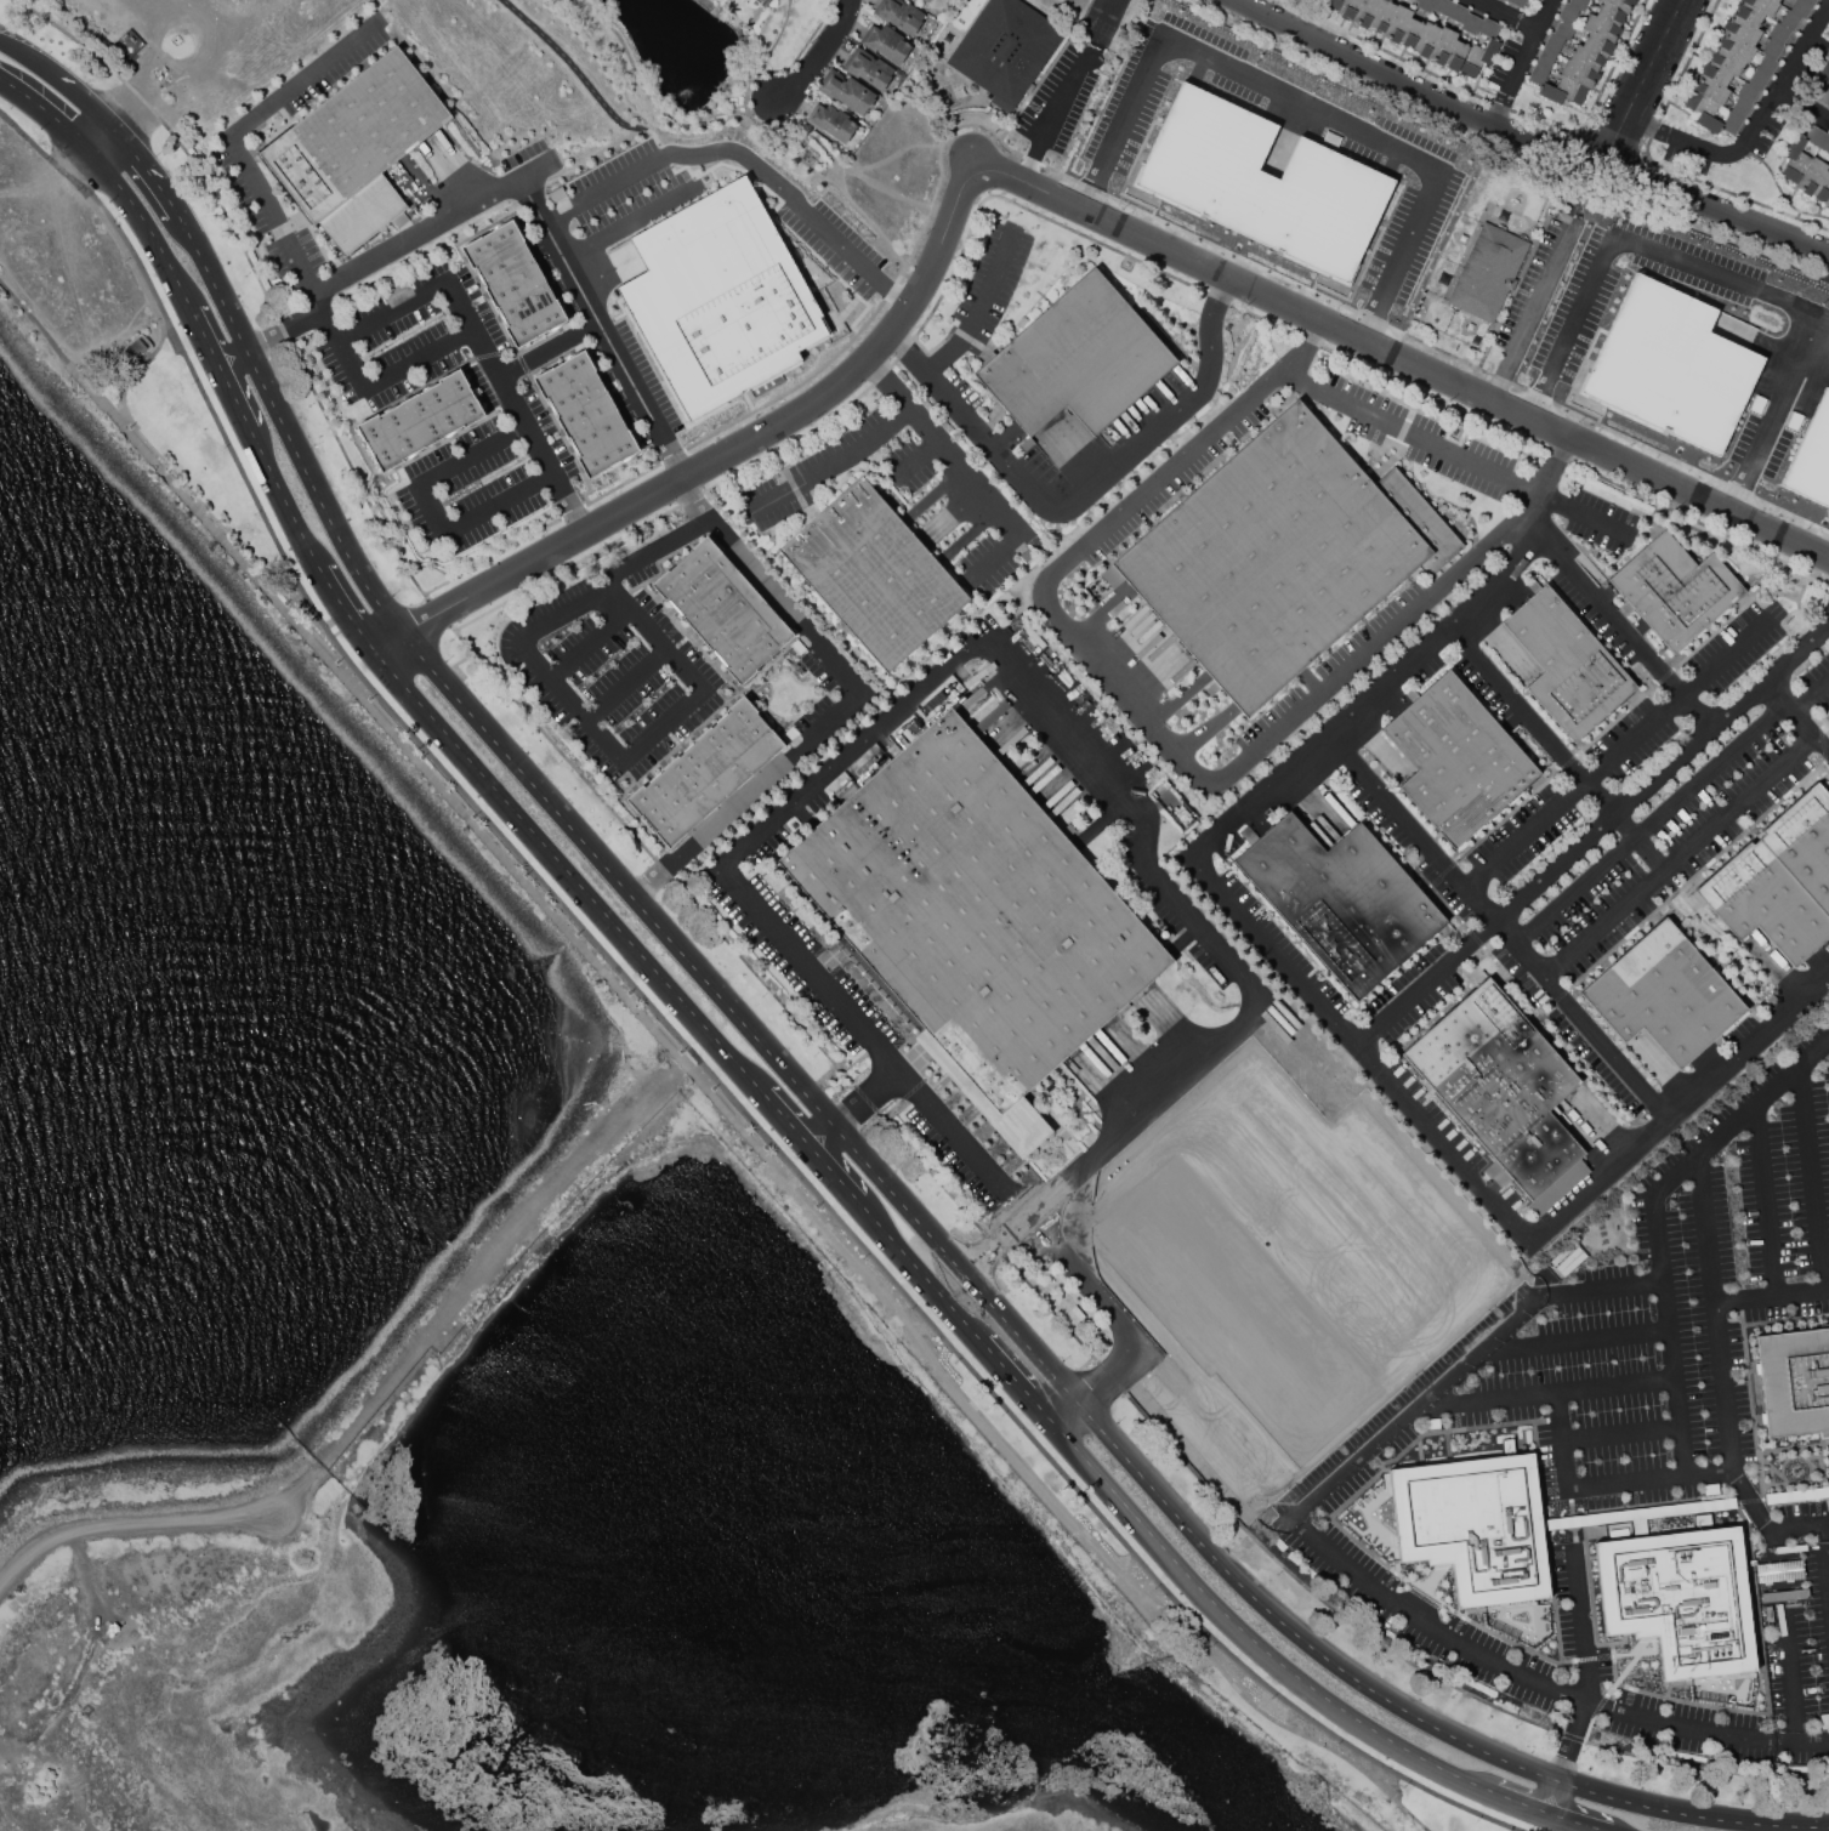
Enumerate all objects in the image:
building: (1416, 0)
building: (1778, 0)
building: (760, 1)
building: (922, 1)
building: (1811, 1)
building: (1518, 2)
building: (1333, 4)
building: (1579, 4)
building: (1620, 4)
building: (1426, 5)
building: (1762, 5)
building: (1443, 6)
building: (1801, 7)
building: (1347, 8)
building: (1365, 12)
building: (1459, 12)
building: (1569, 12)
building: (1611, 13)
building: (1749, 13)
building: (899, 15)
road: (1510, 15)
road: (1549, 15)
building: (1381, 16)
building: (1790, 19)
building: (1397, 23)
building: (1472, 23)
building: (1489, 27)
building: (1564, 28)
building: (1602, 28)
building: (1743, 29)
building: (1411, 33)
building: (1779, 33)
building: (1426, 39)
building: (886, 41)
building: (1553, 41)
building: (1598, 45)
road: (1804, 45)
building: (1442, 46)
building: (1736, 46)
road: (19, 47)
building: (1773, 47)
building: (1006, 49)
road: (820, 52)
building: (1456, 55)
building: (1478, 56)
building: (1547, 57)
building: (1586, 57)
building: (1727, 59)
building: (1768, 64)
building: (868, 68)
building: (1539, 73)
building: (1579, 73)
building: (1716, 73)
building: (1824, 73)
road: (1518, 78)
road: (300, 79)
building: (1759, 79)
road: (1647, 83)
building: (1710, 89)
building: (846, 90)
road: (1068, 90)
building: (1563, 91)
building: (1748, 92)
road: (83, 93)
building: (1823, 93)
road: (1804, 102)
road: (658, 104)
building: (1721, 104)
road: (1299, 106)
building: (1740, 108)
building: (1704, 110)
building: (833, 123)
building: (1732, 123)
road: (120, 131)
building: (1816, 135)
road: (1529, 137)
building: (1825, 143)
building: (357, 148)
road: (44, 153)
road: (1719, 154)
road: (746, 159)
building: (1796, 159)
road: (860, 165)
road: (83, 166)
road: (153, 171)
building: (1812, 175)
road: (113, 177)
building: (1261, 182)
road: (1036, 186)
building: (1822, 187)
building: (1827, 200)
road: (433, 227)
road: (1631, 243)
road: (132, 254)
building: (624, 260)
road: (297, 262)
building: (1488, 272)
building: (515, 282)
building: (718, 297)
road: (982, 308)
road: (393, 309)
road: (1535, 311)
road: (1212, 328)
road: (602, 330)
road: (203, 336)
road: (269, 339)
building: (137, 347)
road: (549, 347)
road: (1303, 347)
road: (909, 353)
road: (420, 358)
building: (1078, 360)
building: (1670, 364)
road: (138, 366)
road: (506, 387)
road: (233, 397)
building: (586, 413)
road: (1772, 413)
building: (421, 419)
road: (291, 427)
road: (990, 444)
road: (944, 447)
road: (1135, 449)
road: (472, 455)
road: (914, 456)
road: (1461, 459)
road: (833, 465)
road: (1161, 479)
road: (933, 493)
road: (283, 496)
road: (499, 501)
road: (432, 510)
road: (953, 514)
road: (576, 516)
road: (1510, 524)
road: (655, 550)
building: (1280, 555)
road: (744, 558)
road: (994, 558)
building: (874, 574)
building: (1675, 590)
road: (343, 608)
building: (725, 609)
road: (567, 612)
road: (1617, 619)
road: (659, 639)
road: (590, 642)
road: (976, 642)
road: (326, 647)
building: (1568, 663)
road: (835, 664)
road: (356, 678)
road: (627, 683)
road: (1333, 684)
road: (1810, 693)
road: (1367, 696)
road: (1129, 700)
road: (572, 701)
road: (385, 713)
road: (1796, 717)
road: (664, 726)
road: (1553, 747)
road: (1619, 751)
building: (1458, 758)
building: (709, 769)
road: (1660, 772)
road: (748, 794)
road: (1649, 824)
building: (1805, 842)
road: (1679, 857)
road: (569, 874)
building: (1341, 899)
building: (1765, 902)
building: (975, 910)
road: (1499, 925)
road: (687, 953)
park: (615, 956)
road: (1426, 983)
building: (1664, 994)
road: (806, 1033)
road: (668, 1035)
road: (1361, 1048)
road: (698, 1069)
road: (695, 1079)
building: (1500, 1084)
road: (728, 1103)
road: (1679, 1110)
road: (857, 1113)
road: (1740, 1114)
road: (788, 1122)
road: (774, 1144)
road: (1812, 1176)
road: (836, 1177)
road: (1767, 1199)
road: (995, 1244)
road: (913, 1263)
road: (1601, 1289)
road: (1771, 1296)
road: (967, 1297)
road: (1714, 1313)
road: (1121, 1327)
road: (1669, 1334)
road: (1572, 1342)
road: (990, 1350)
building: (1795, 1381)
road: (1545, 1391)
road: (1035, 1403)
road: (1416, 1406)
road: (1560, 1440)
road: (1648, 1479)
road: (1751, 1500)
building: (1473, 1525)
road: (1796, 1525)
road: (1825, 1553)
building: (1680, 1599)
road: (1581, 1624)
road: (1784, 1634)
road: (1248, 1636)
airport: (178, 1647)
road: (1331, 1657)
road: (1540, 1682)
building: (1717, 1688)
road: (1570, 1759)
road: (1516, 1804)
airport: (1027, 1816)
road: (1569, 1824)

